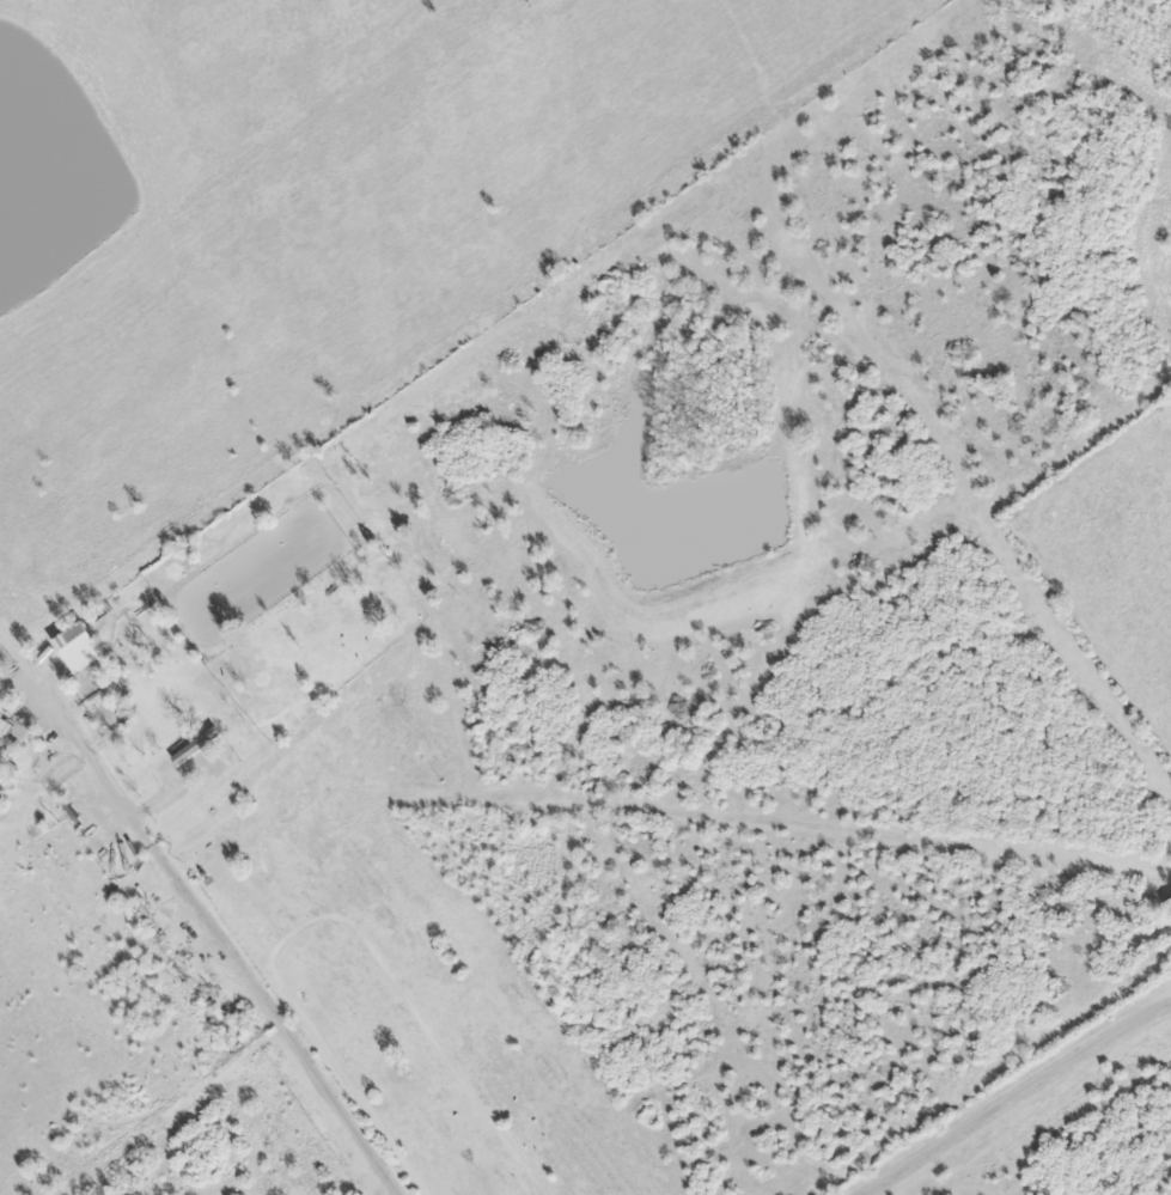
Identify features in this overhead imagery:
building: (80, 648)
building: (197, 746)
road: (202, 902)
building: (1170, 906)
road: (1018, 1095)

